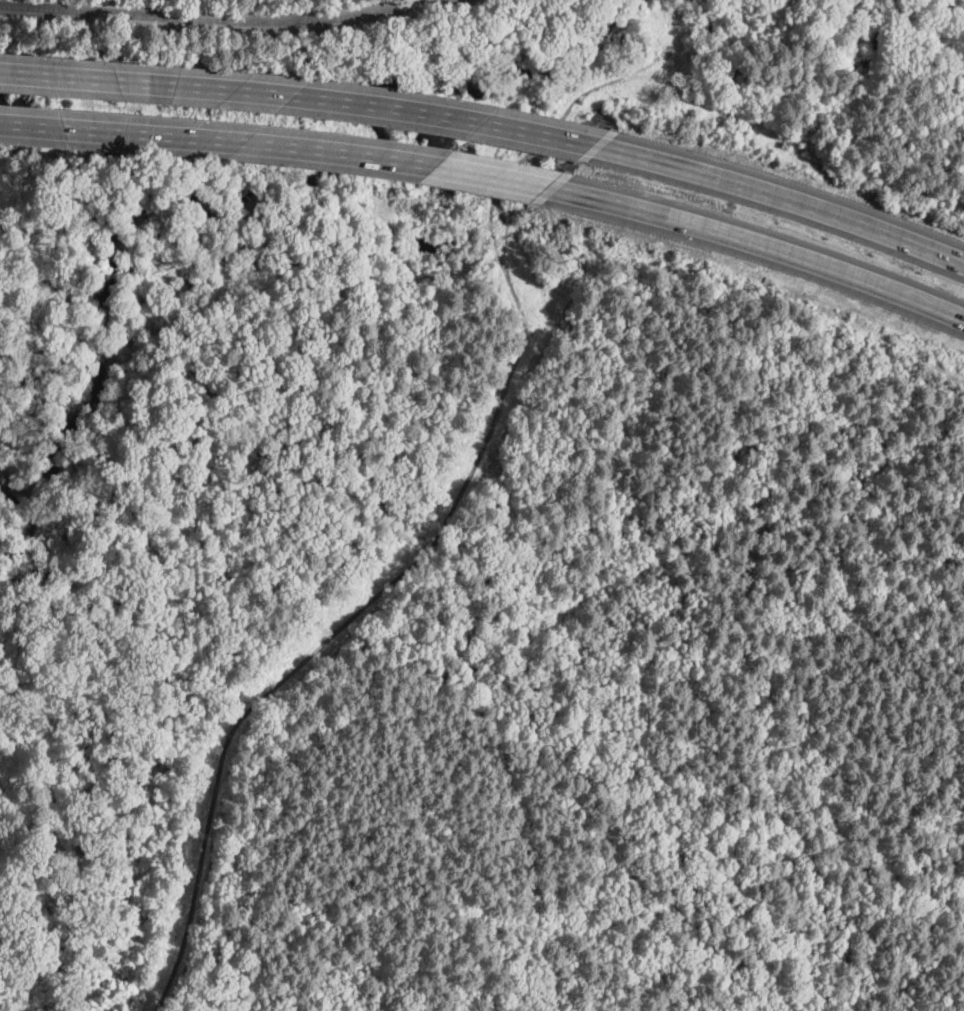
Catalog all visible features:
road: (304, 97)
road: (280, 147)
road: (786, 200)
road: (764, 245)

